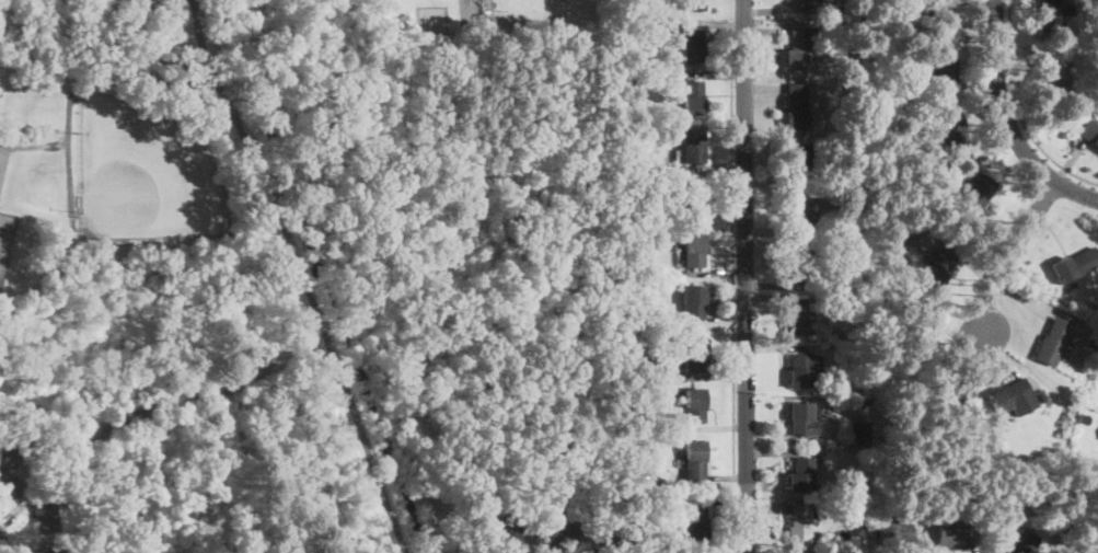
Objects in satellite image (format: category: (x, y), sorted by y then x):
road: (967, 0)
road: (193, 2)
building: (691, 4)
building: (825, 8)
road: (772, 10)
building: (889, 14)
building: (1049, 15)
road: (714, 23)
building: (941, 24)
building: (623, 27)
building: (822, 30)
road: (764, 31)
building: (882, 39)
building: (692, 45)
building: (798, 48)
building: (642, 58)
road: (1018, 65)
building: (1057, 72)
road: (715, 74)
building: (944, 74)
road: (978, 84)
building: (629, 88)
road: (763, 88)
building: (692, 97)
building: (796, 107)
road: (1018, 110)
road: (1007, 120)
building: (916, 126)
building: (955, 130)
building: (1090, 133)
road: (987, 134)
building: (629, 143)
road: (33, 146)
building: (692, 147)
road: (993, 148)
building: (796, 159)
road: (1071, 161)
park: (3, 165)
road: (716, 168)
park: (147, 172)
road: (767, 184)
building: (976, 191)
building: (693, 198)
building: (797, 209)
building: (640, 216)
road: (714, 219)
building: (895, 230)
park: (5, 238)
road: (772, 238)
building: (638, 239)
building: (693, 250)
road: (955, 252)
road: (1009, 253)
building: (890, 255)
building: (906, 256)
building: (796, 264)
building: (1074, 265)
building: (939, 267)
road: (716, 272)
road: (301, 275)
road: (731, 276)
road: (744, 276)
building: (849, 284)
park: (175, 286)
road: (771, 286)
building: (864, 296)
road: (770, 297)
road: (1037, 300)
building: (693, 301)
road: (955, 310)
building: (633, 313)
building: (649, 319)
building: (797, 319)
road: (716, 323)
building: (636, 324)
building: (918, 327)
building: (1091, 342)
building: (1053, 343)
road: (785, 348)
building: (694, 356)
building: (859, 358)
road: (1009, 358)
building: (648, 360)
road: (973, 362)
building: (799, 370)
road: (706, 377)
building: (859, 387)
building: (935, 387)
building: (1008, 394)
building: (1041, 396)
building: (862, 401)
building: (694, 405)
building: (1084, 417)
building: (800, 418)
road: (717, 426)
building: (859, 430)
building: (28, 438)
road: (782, 441)
road: (781, 451)
building: (843, 451)
building: (644, 453)
building: (694, 462)
building: (7, 466)
building: (800, 474)
road: (727, 477)
building: (657, 483)
building: (553, 486)
road: (718, 499)
building: (482, 502)
road: (4, 504)
road: (19, 508)
road: (765, 508)
building: (44, 516)
building: (694, 523)
building: (799, 528)
building: (1089, 531)
building: (892, 532)
building: (559, 534)
building: (613, 535)
building: (500, 537)
building: (952, 537)
road: (916, 539)
road: (976, 542)
building: (1018, 542)
road: (635, 543)
road: (522, 544)
road: (582, 544)
road: (995, 544)
building: (46, 550)
building: (1091, 550)
road: (0, 552)

